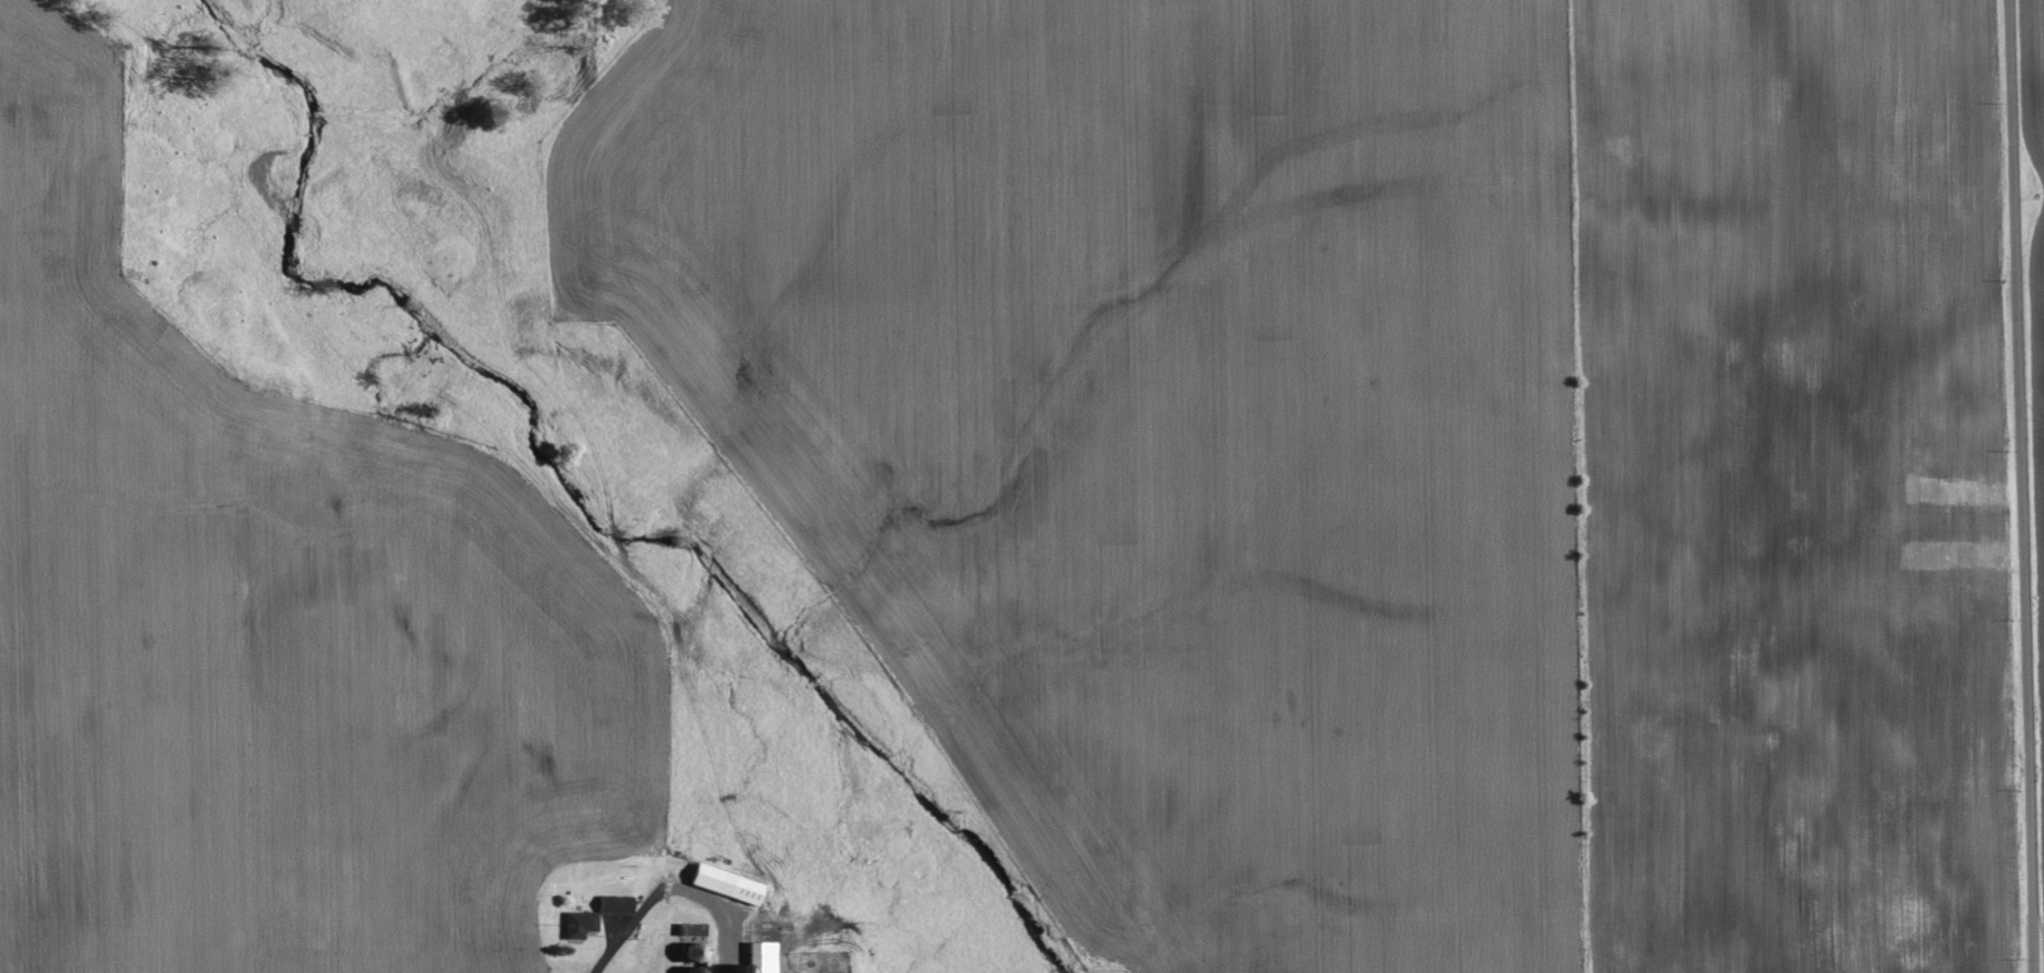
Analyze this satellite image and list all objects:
road: (2023, 486)
building: (728, 884)
road: (671, 886)
building: (581, 924)
building: (763, 957)
building: (789, 965)

